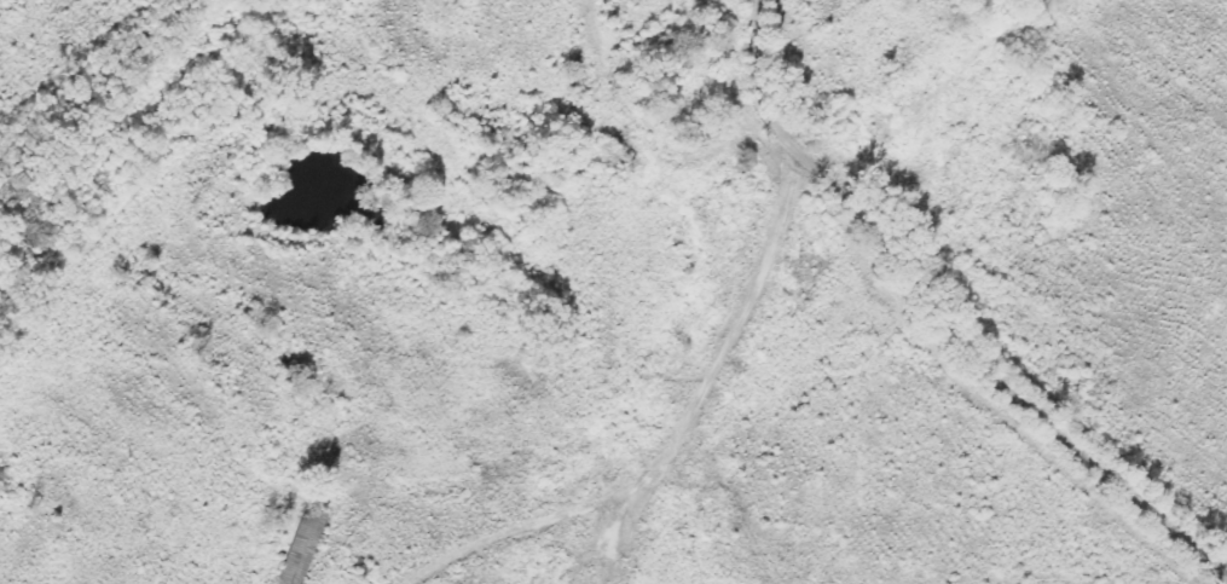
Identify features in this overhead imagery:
road: (961, 299)

